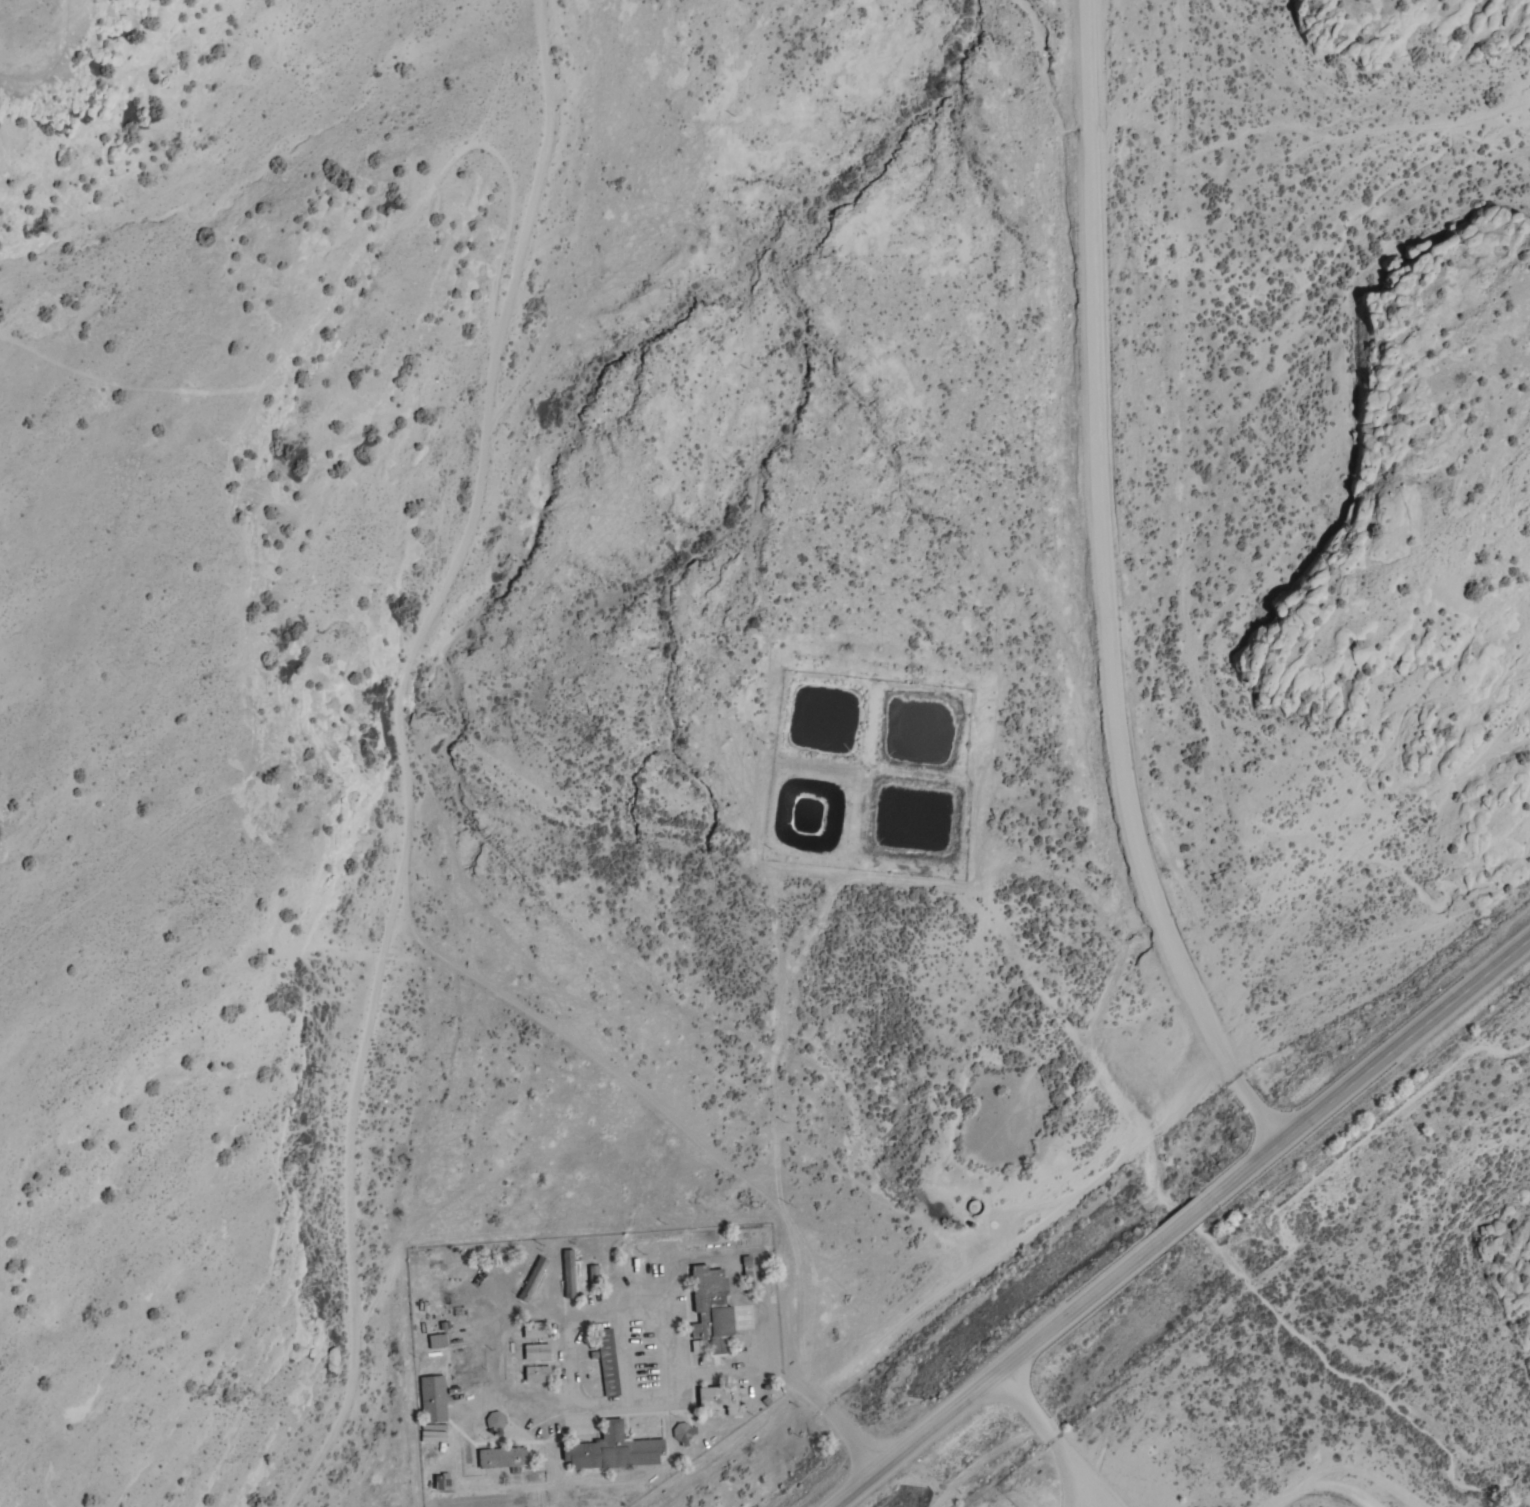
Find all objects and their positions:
road: (1096, 593)
wastewater plant: (824, 719)
wastewater plant: (921, 730)
road: (402, 757)
river: (451, 768)
wastewater plant: (810, 814)
wastewater plant: (913, 818)
road: (1362, 1072)
road: (669, 1117)
road: (1181, 1223)
building: (570, 1274)
building: (596, 1275)
building: (534, 1279)
building: (714, 1310)
building: (537, 1330)
building: (538, 1352)
building: (610, 1362)
road: (999, 1371)
building: (538, 1372)
river: (1347, 1384)
building: (434, 1399)
building: (722, 1399)
road: (664, 1401)
building: (496, 1421)
building: (433, 1436)
road: (1050, 1436)
building: (616, 1451)
building: (503, 1458)
road: (1094, 1474)
road: (1324, 1486)

